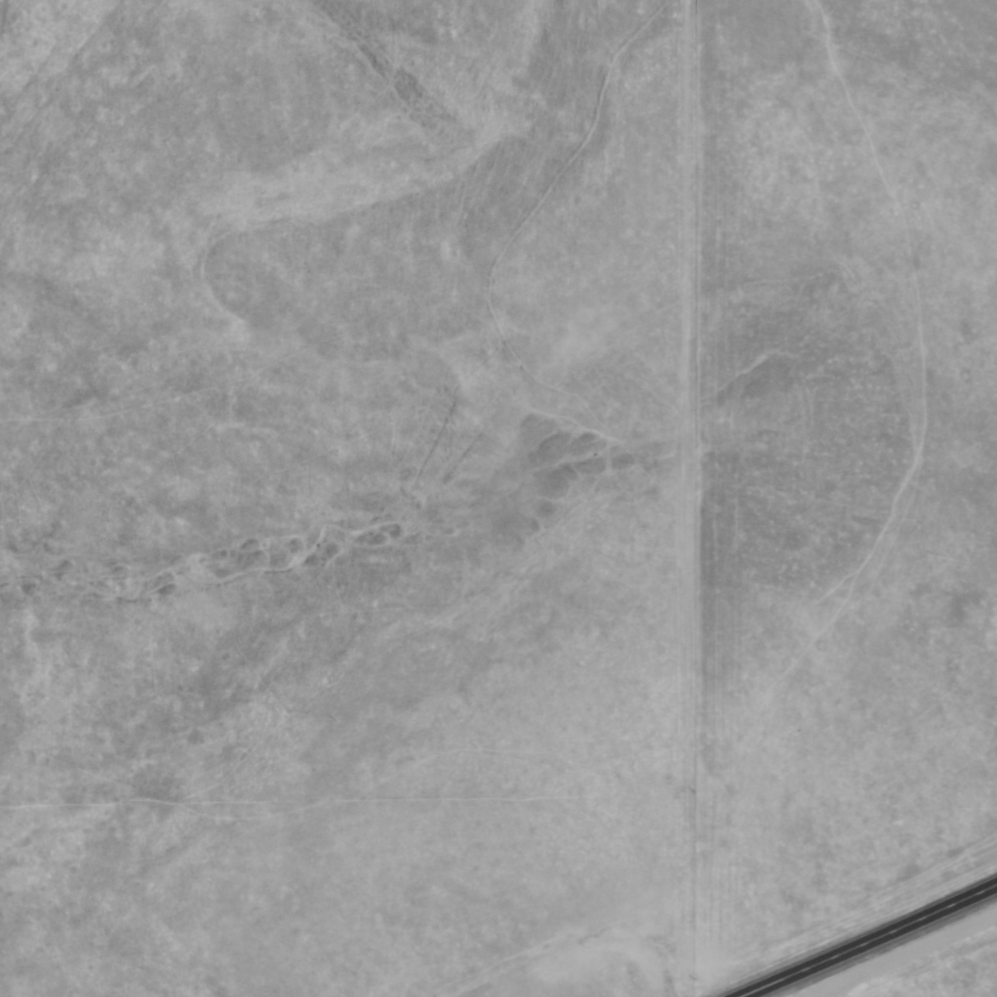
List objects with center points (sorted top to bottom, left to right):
road: (864, 939)
airport: (915, 960)

